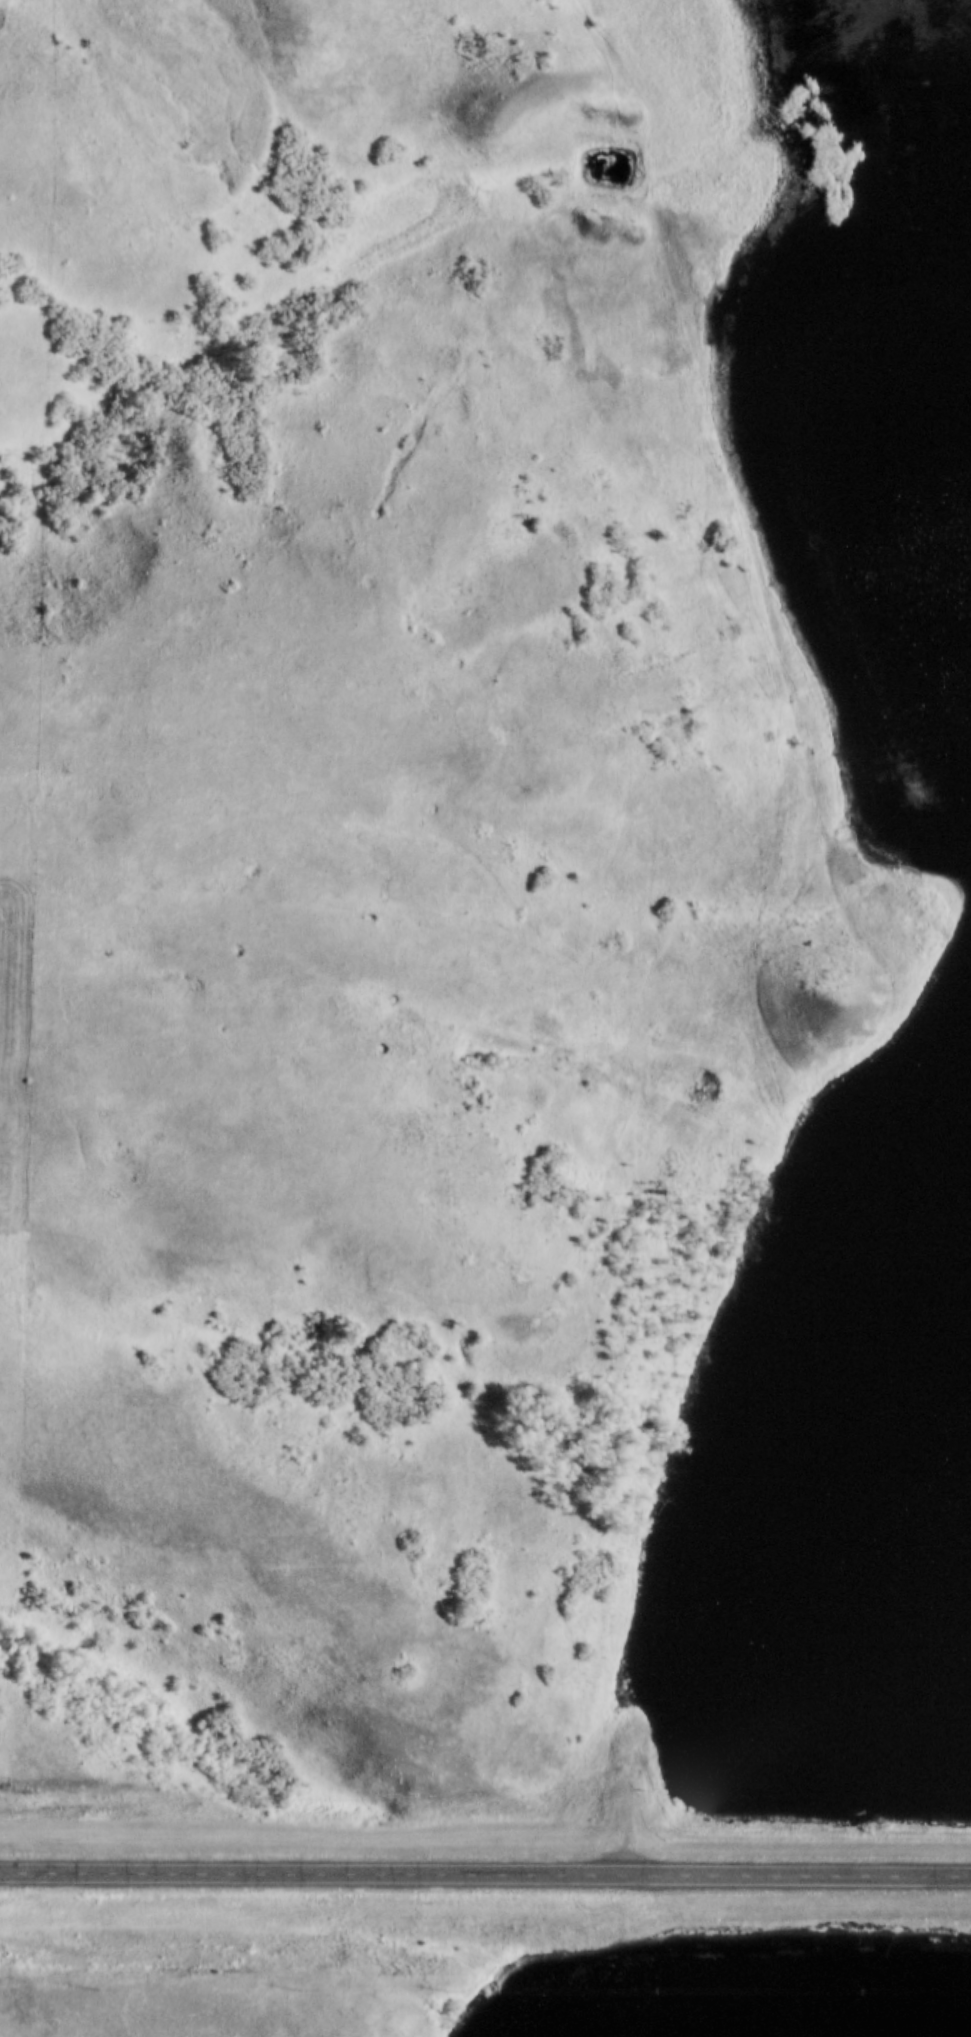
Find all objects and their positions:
road: (485, 1875)

